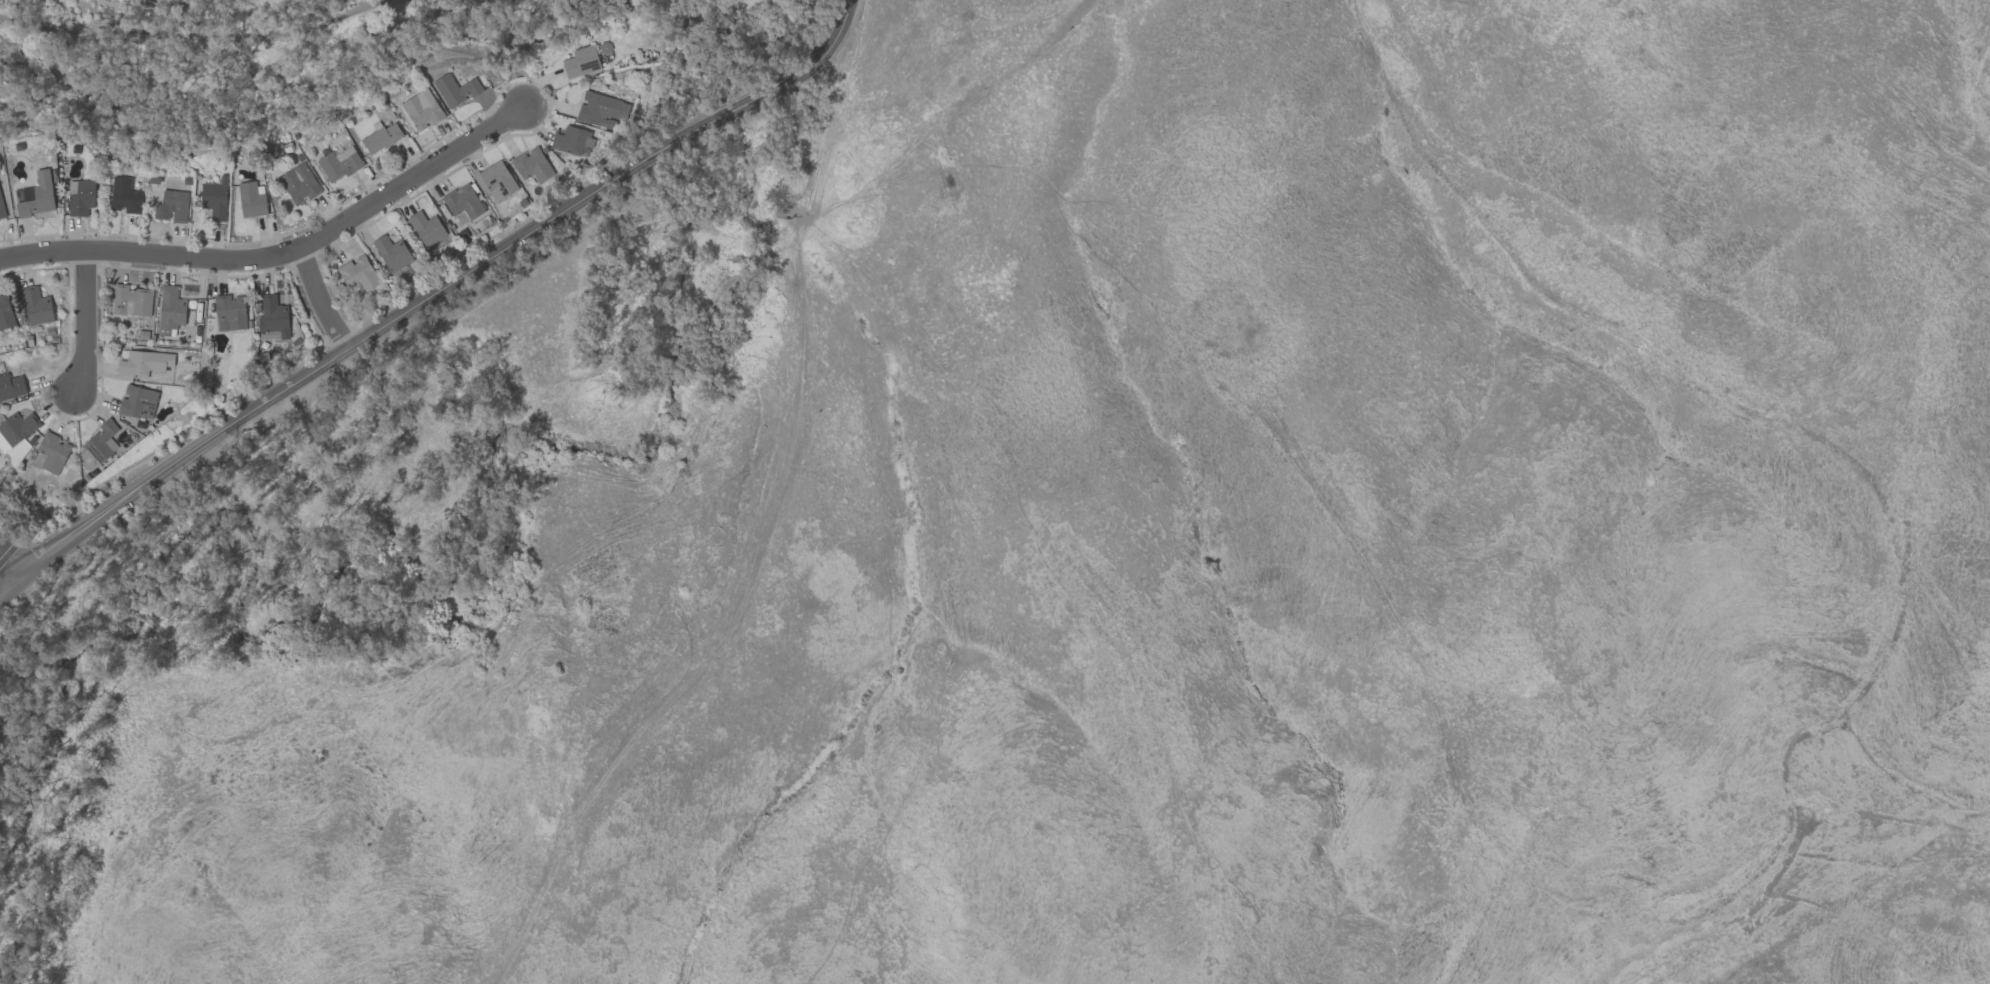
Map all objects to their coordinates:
road: (191, 37)
park: (737, 46)
road: (507, 54)
building: (580, 61)
park: (254, 64)
building: (455, 89)
building: (422, 109)
building: (601, 110)
building: (381, 138)
building: (572, 140)
building: (338, 163)
building: (532, 165)
building: (495, 181)
building: (299, 183)
building: (124, 196)
building: (80, 197)
building: (214, 198)
building: (250, 199)
building: (37, 201)
building: (463, 204)
building: (171, 206)
building: (1, 209)
building: (426, 228)
building: (392, 252)
road: (282, 255)
building: (358, 272)
road: (432, 296)
road: (321, 299)
building: (130, 301)
building: (35, 306)
building: (170, 310)
building: (5, 312)
building: (230, 312)
building: (273, 316)
road: (85, 324)
building: (143, 362)
building: (11, 386)
building: (138, 402)
building: (15, 429)
building: (101, 441)
building: (52, 452)
road: (7, 564)

